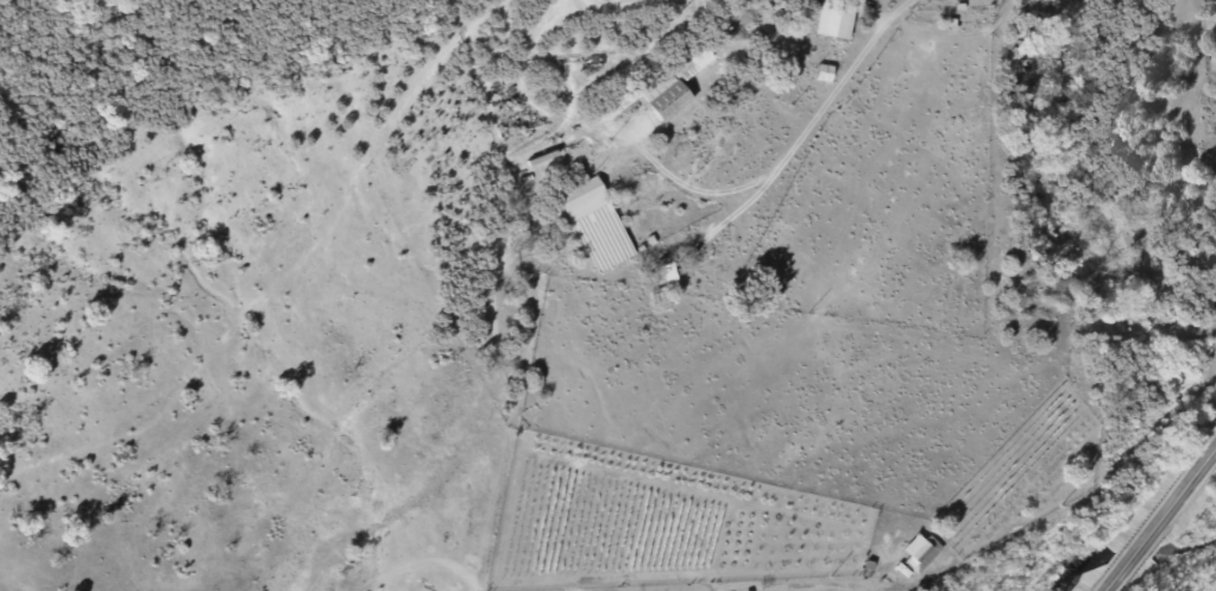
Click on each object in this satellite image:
road: (619, 5)
building: (837, 18)
building: (679, 83)
road: (839, 83)
road: (592, 124)
building: (585, 199)
road: (1159, 518)
river: (1186, 546)
building: (921, 553)
river: (1134, 555)
river: (1070, 566)

